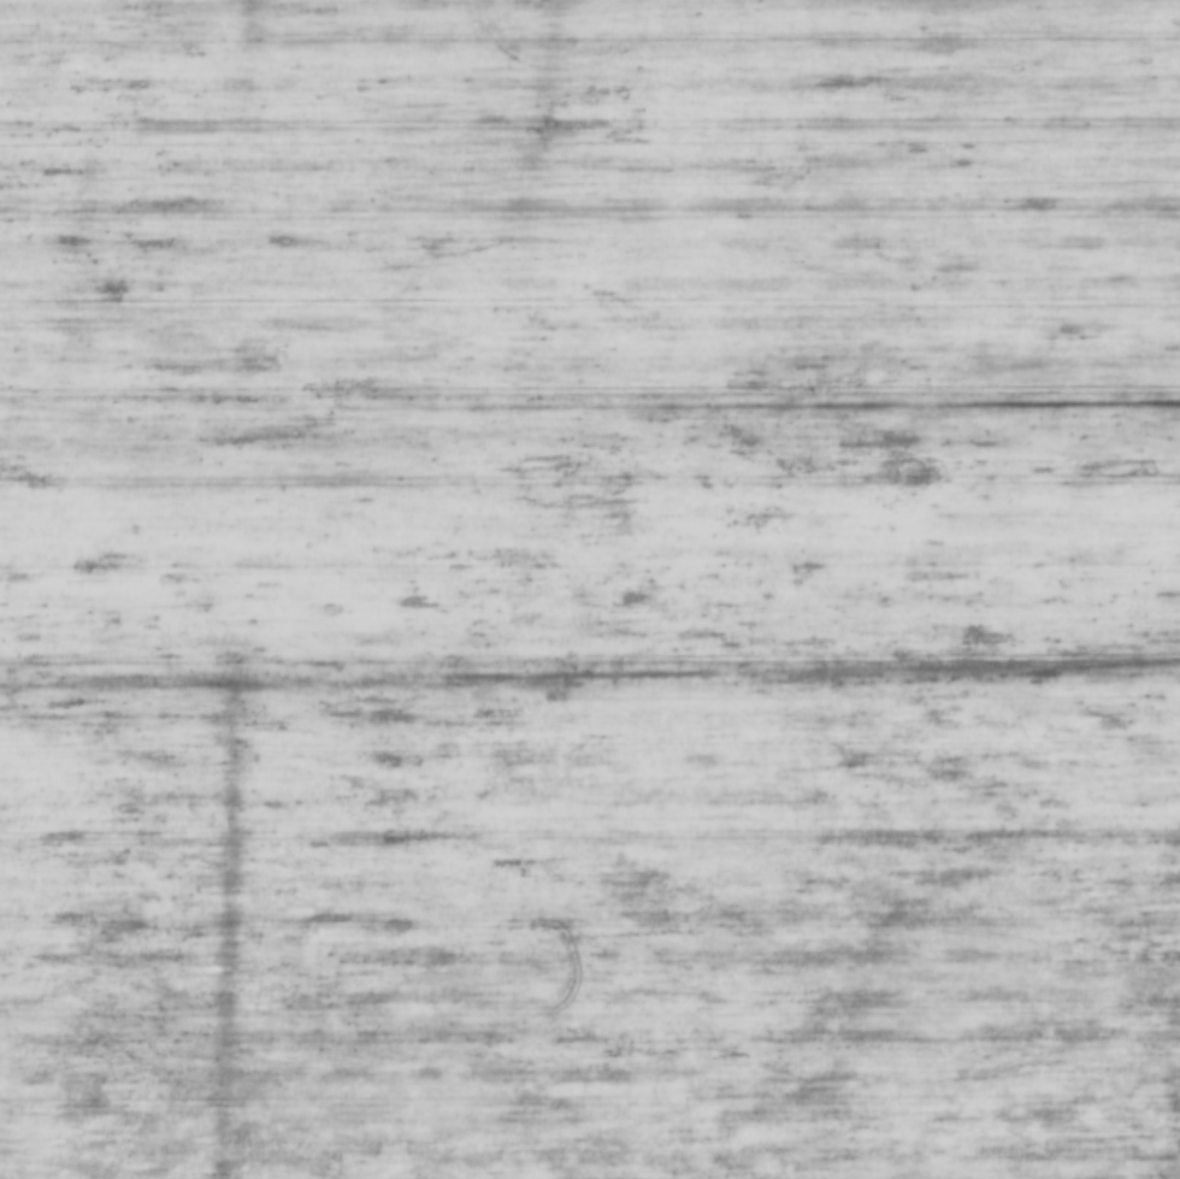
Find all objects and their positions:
crop: (590, 589)

